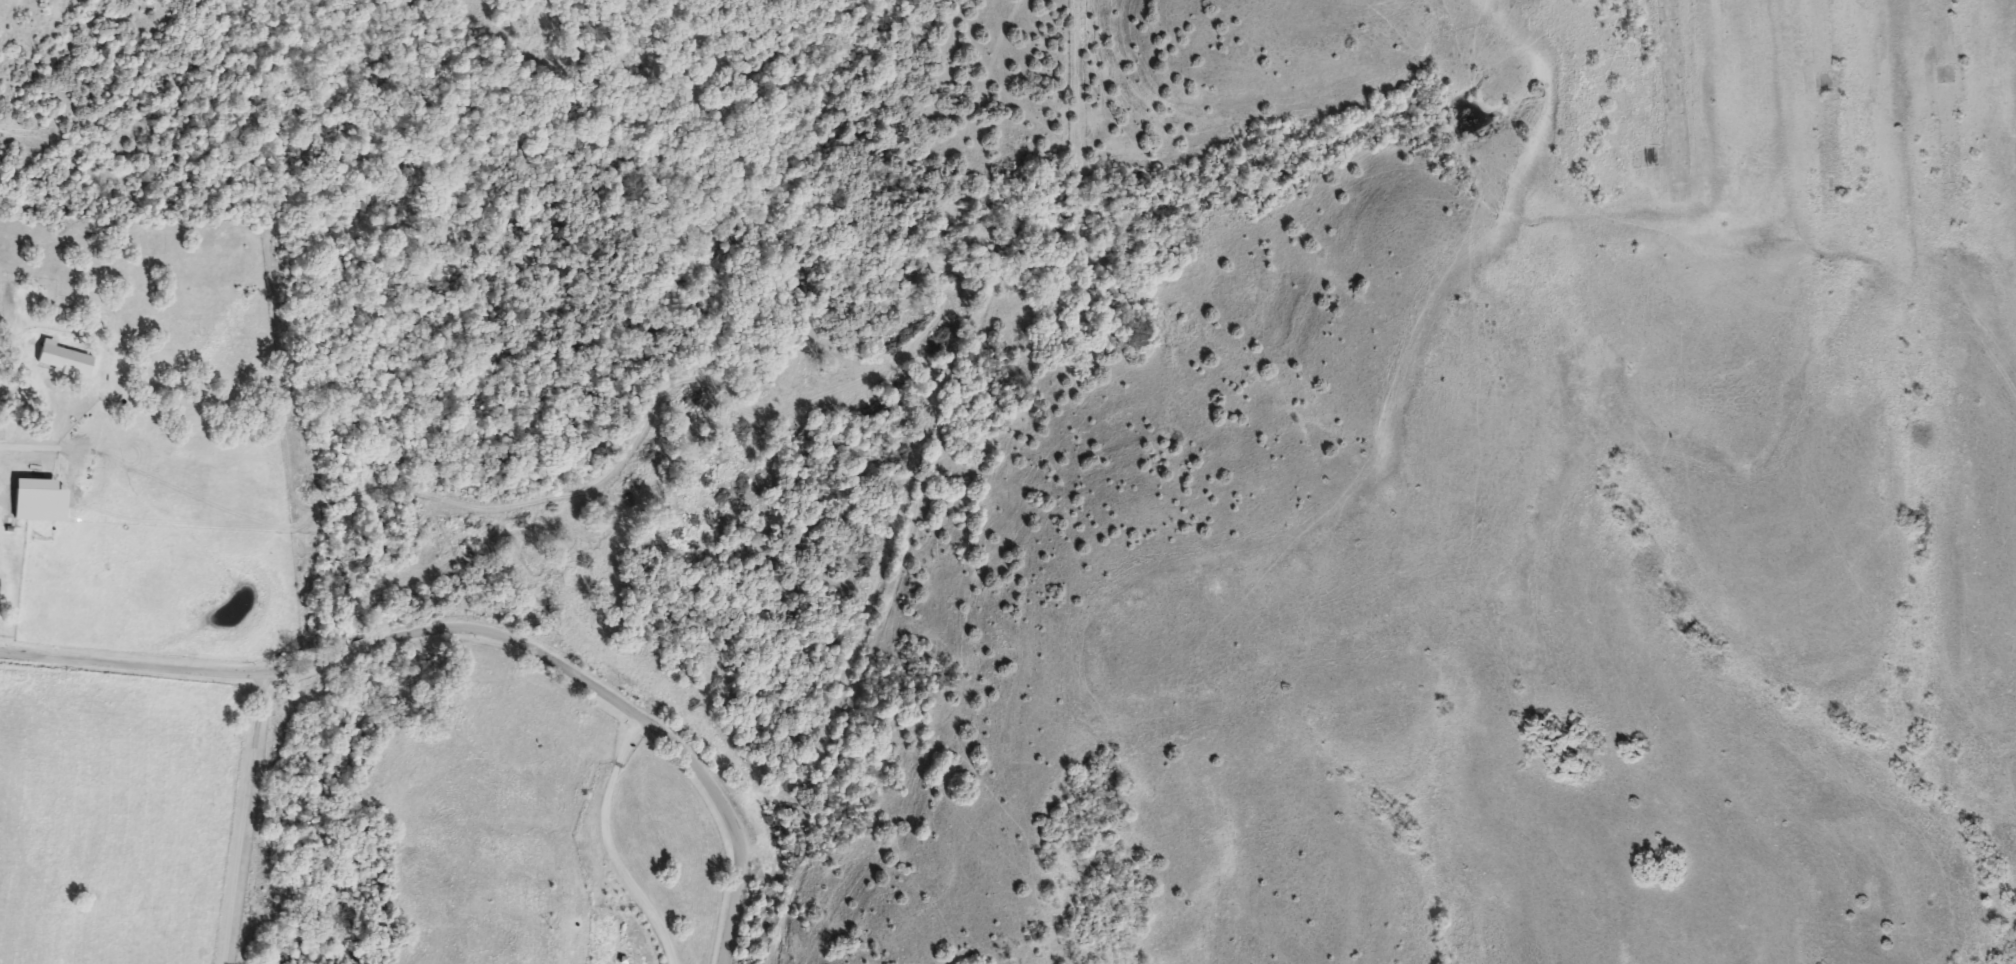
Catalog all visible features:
road: (1875, 82)
airport: (1767, 155)
building: (30, 500)
road: (474, 627)
road: (246, 820)
road: (604, 841)

